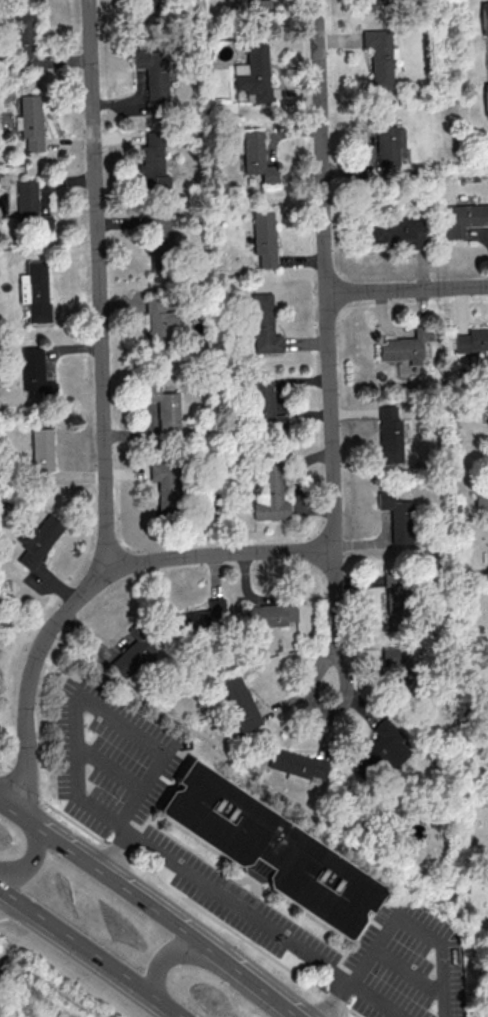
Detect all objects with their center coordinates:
building: (374, 1)
building: (248, 5)
building: (148, 11)
building: (484, 16)
building: (26, 41)
building: (379, 57)
building: (254, 73)
building: (153, 76)
building: (486, 98)
building: (30, 121)
building: (387, 143)
building: (256, 156)
building: (153, 162)
building: (30, 206)
building: (463, 218)
building: (395, 229)
building: (154, 237)
building: (263, 237)
road: (326, 275)
road: (97, 287)
building: (34, 290)
road: (407, 290)
building: (263, 324)
building: (158, 326)
building: (472, 340)
building: (405, 346)
building: (34, 371)
building: (487, 401)
building: (264, 404)
building: (164, 407)
building: (390, 434)
building: (41, 449)
building: (167, 487)
building: (269, 493)
building: (481, 495)
building: (397, 517)
building: (37, 540)
road: (219, 555)
building: (393, 600)
building: (270, 614)
building: (202, 618)
road: (337, 622)
building: (134, 654)
building: (398, 655)
road: (33, 678)
building: (484, 700)
road: (89, 701)
building: (239, 702)
building: (380, 749)
building: (296, 765)
road: (7, 802)
building: (269, 847)
road: (31, 858)
road: (113, 878)
road: (220, 890)
road: (2, 894)
road: (179, 895)
road: (403, 917)
road: (91, 951)
road: (170, 957)
road: (362, 966)
road: (60, 974)
road: (254, 984)
road: (430, 985)
road: (338, 1000)
road: (374, 1000)
road: (444, 1006)

